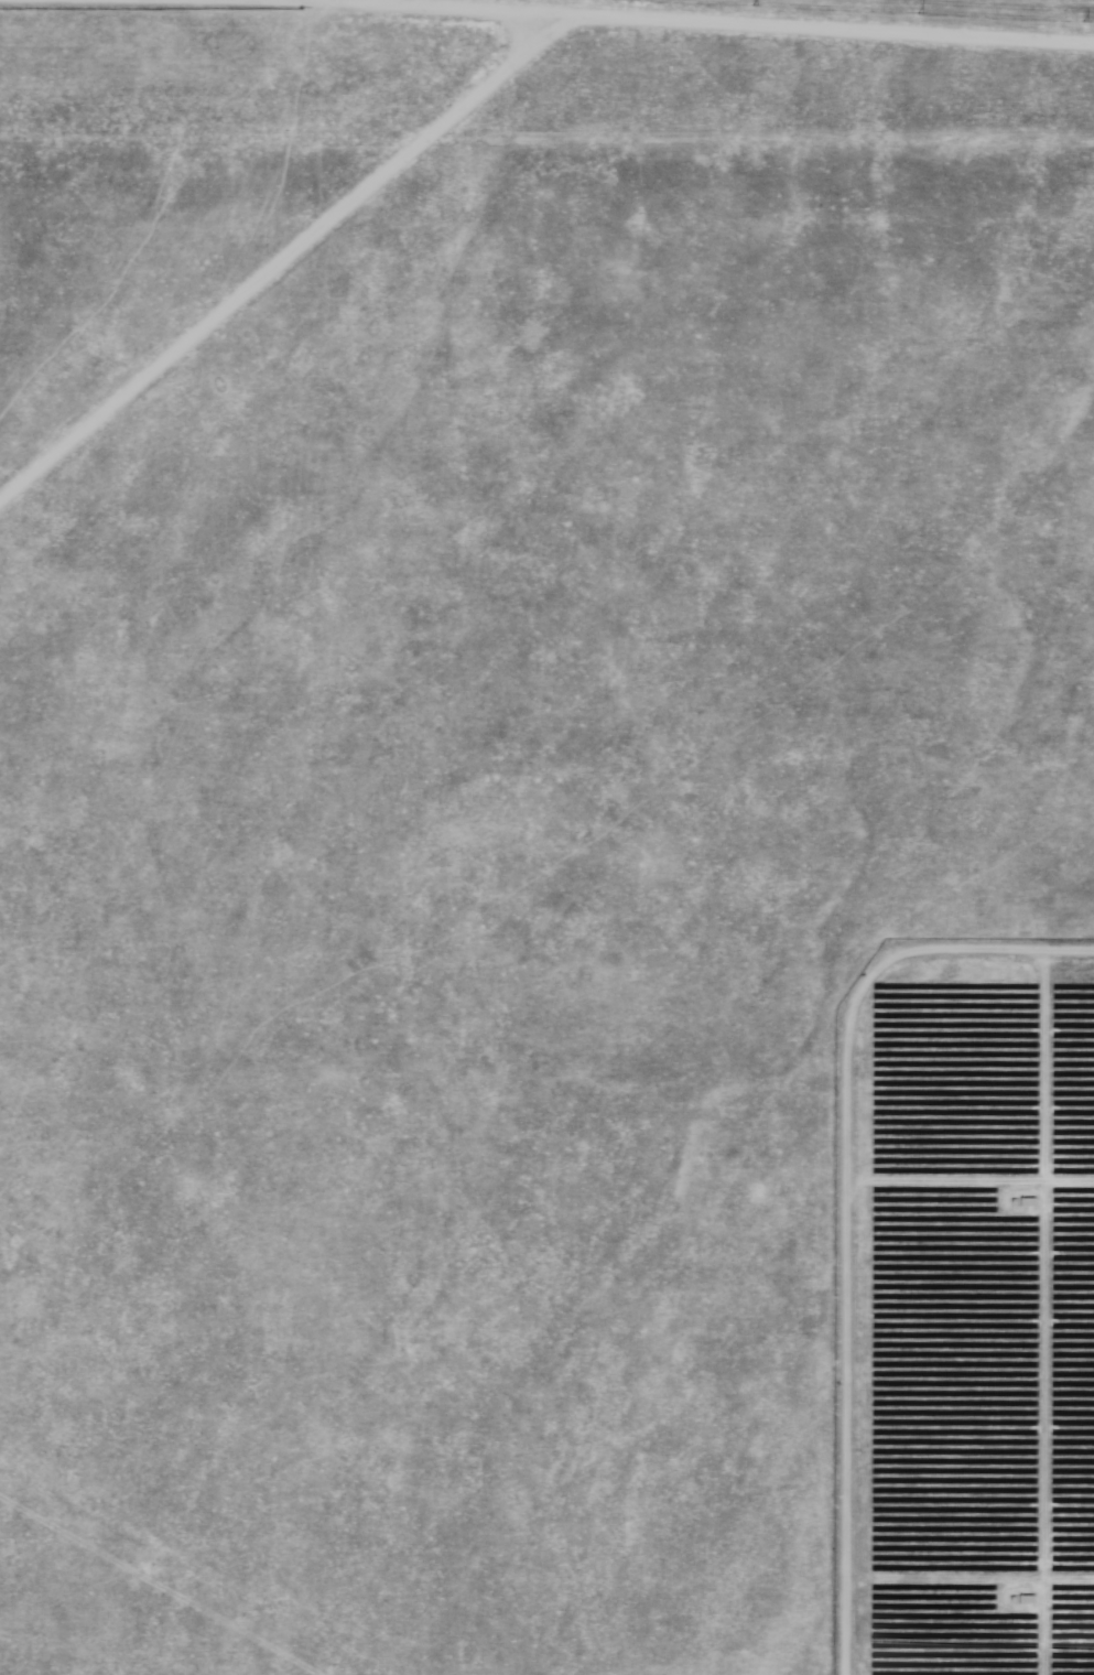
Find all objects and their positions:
road: (546, 51)
solar farm: (546, 837)

